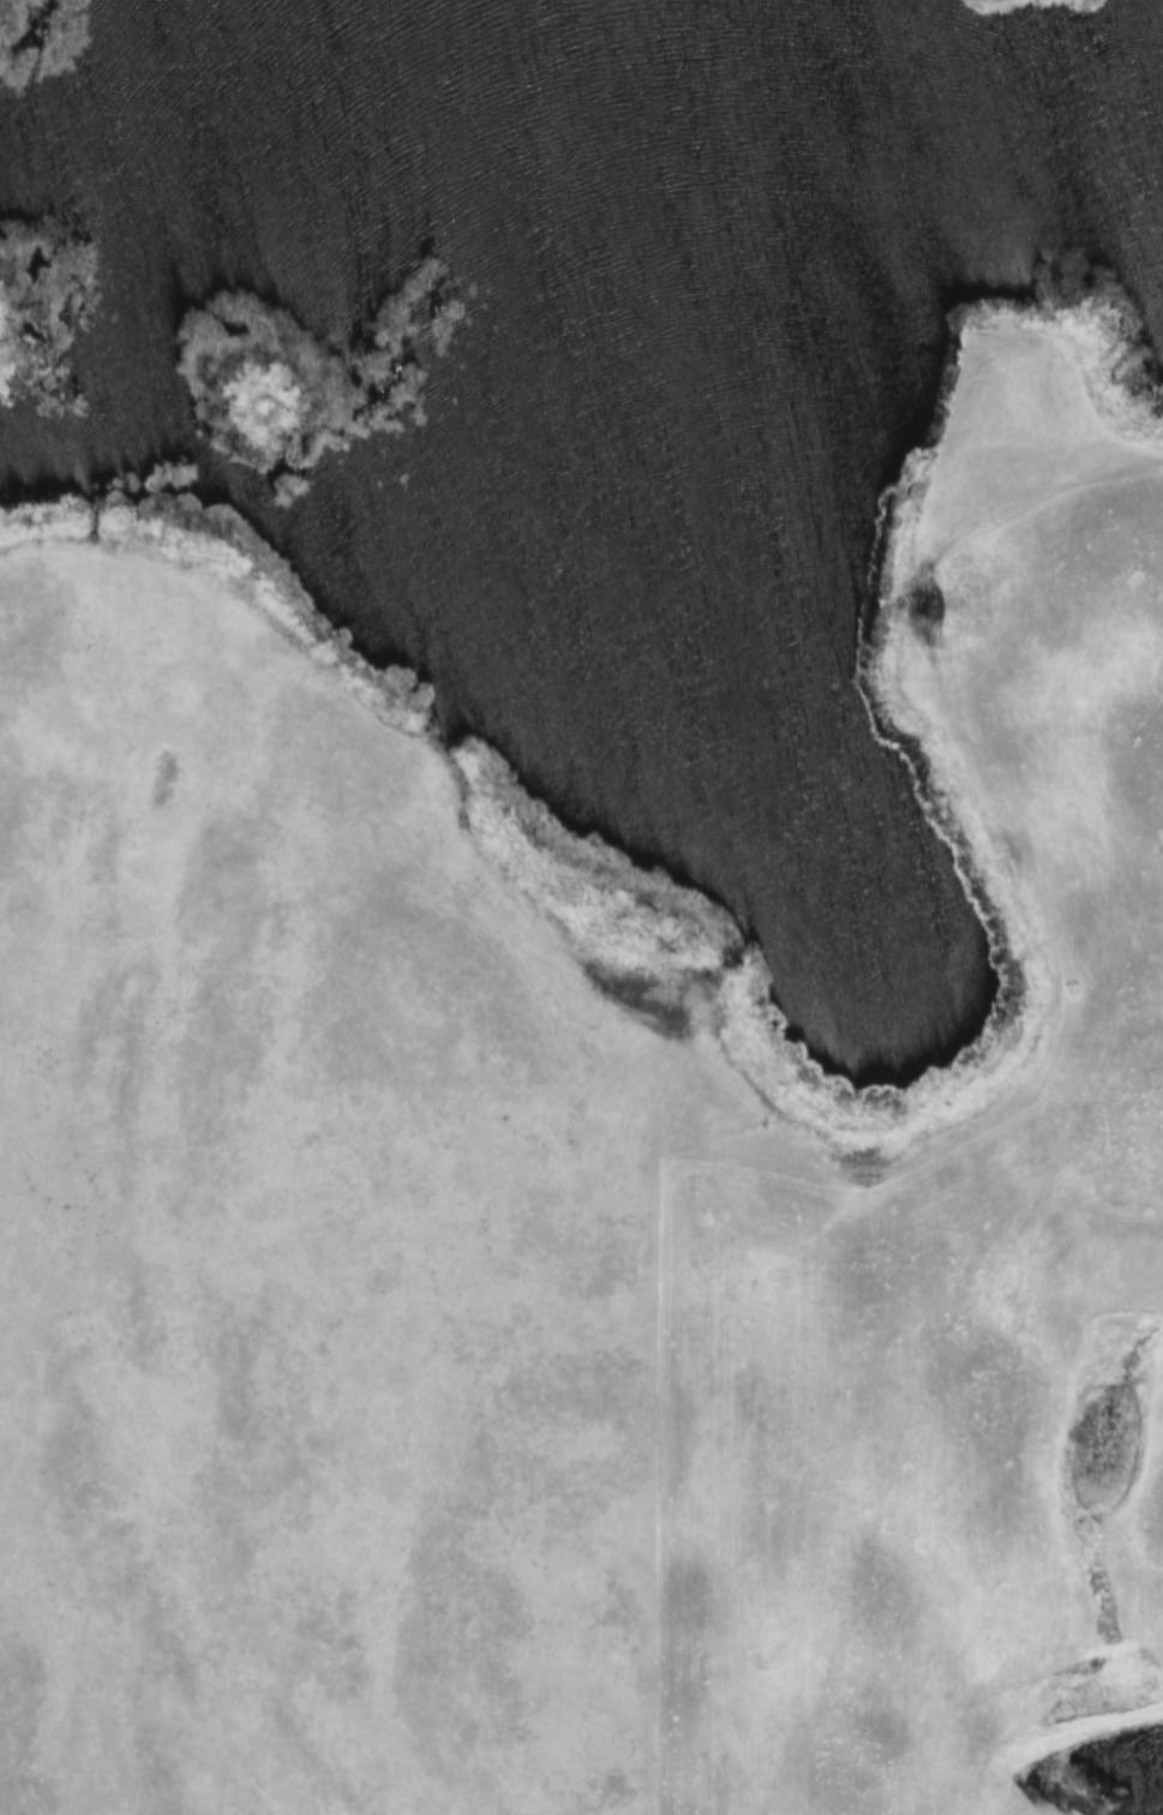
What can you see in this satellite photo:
dam: (1073, 1730)

